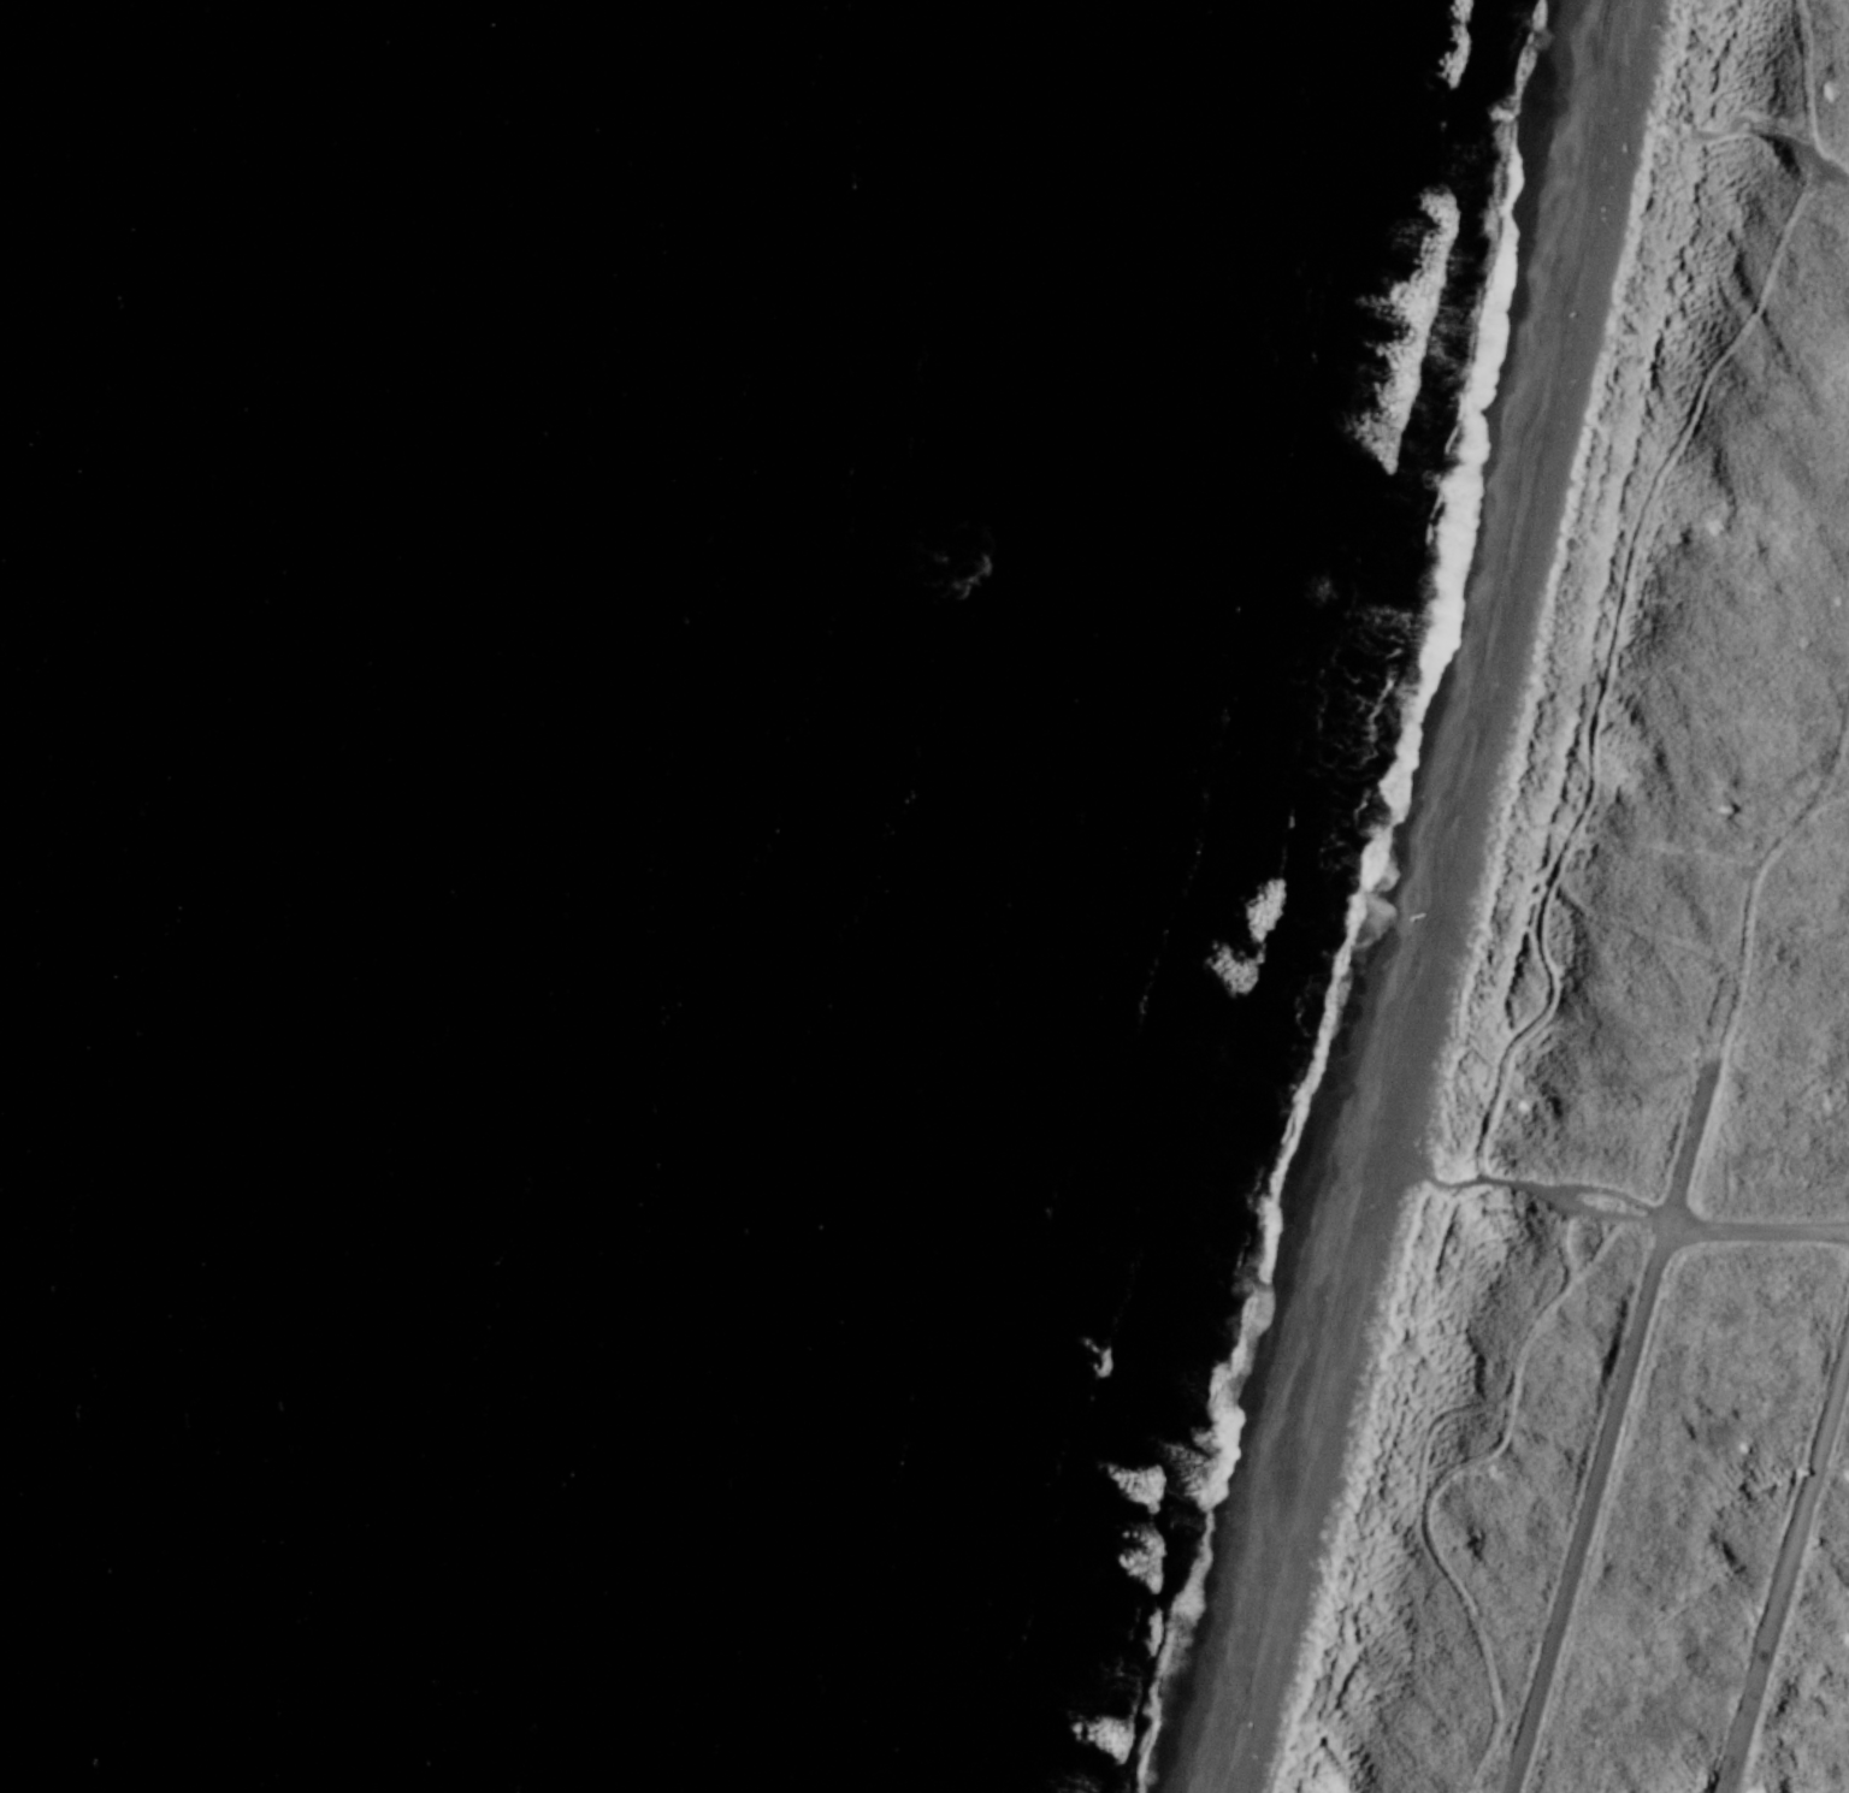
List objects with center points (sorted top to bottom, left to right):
road: (1542, 975)
road: (1762, 1232)
road: (1589, 1511)
road: (1788, 1569)

